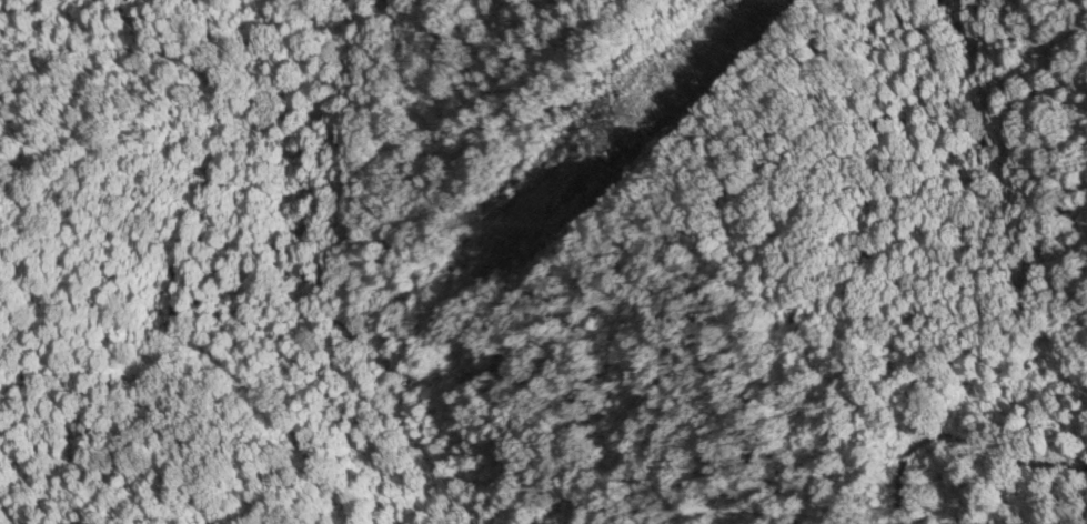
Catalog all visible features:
power tower: (632, 112)

